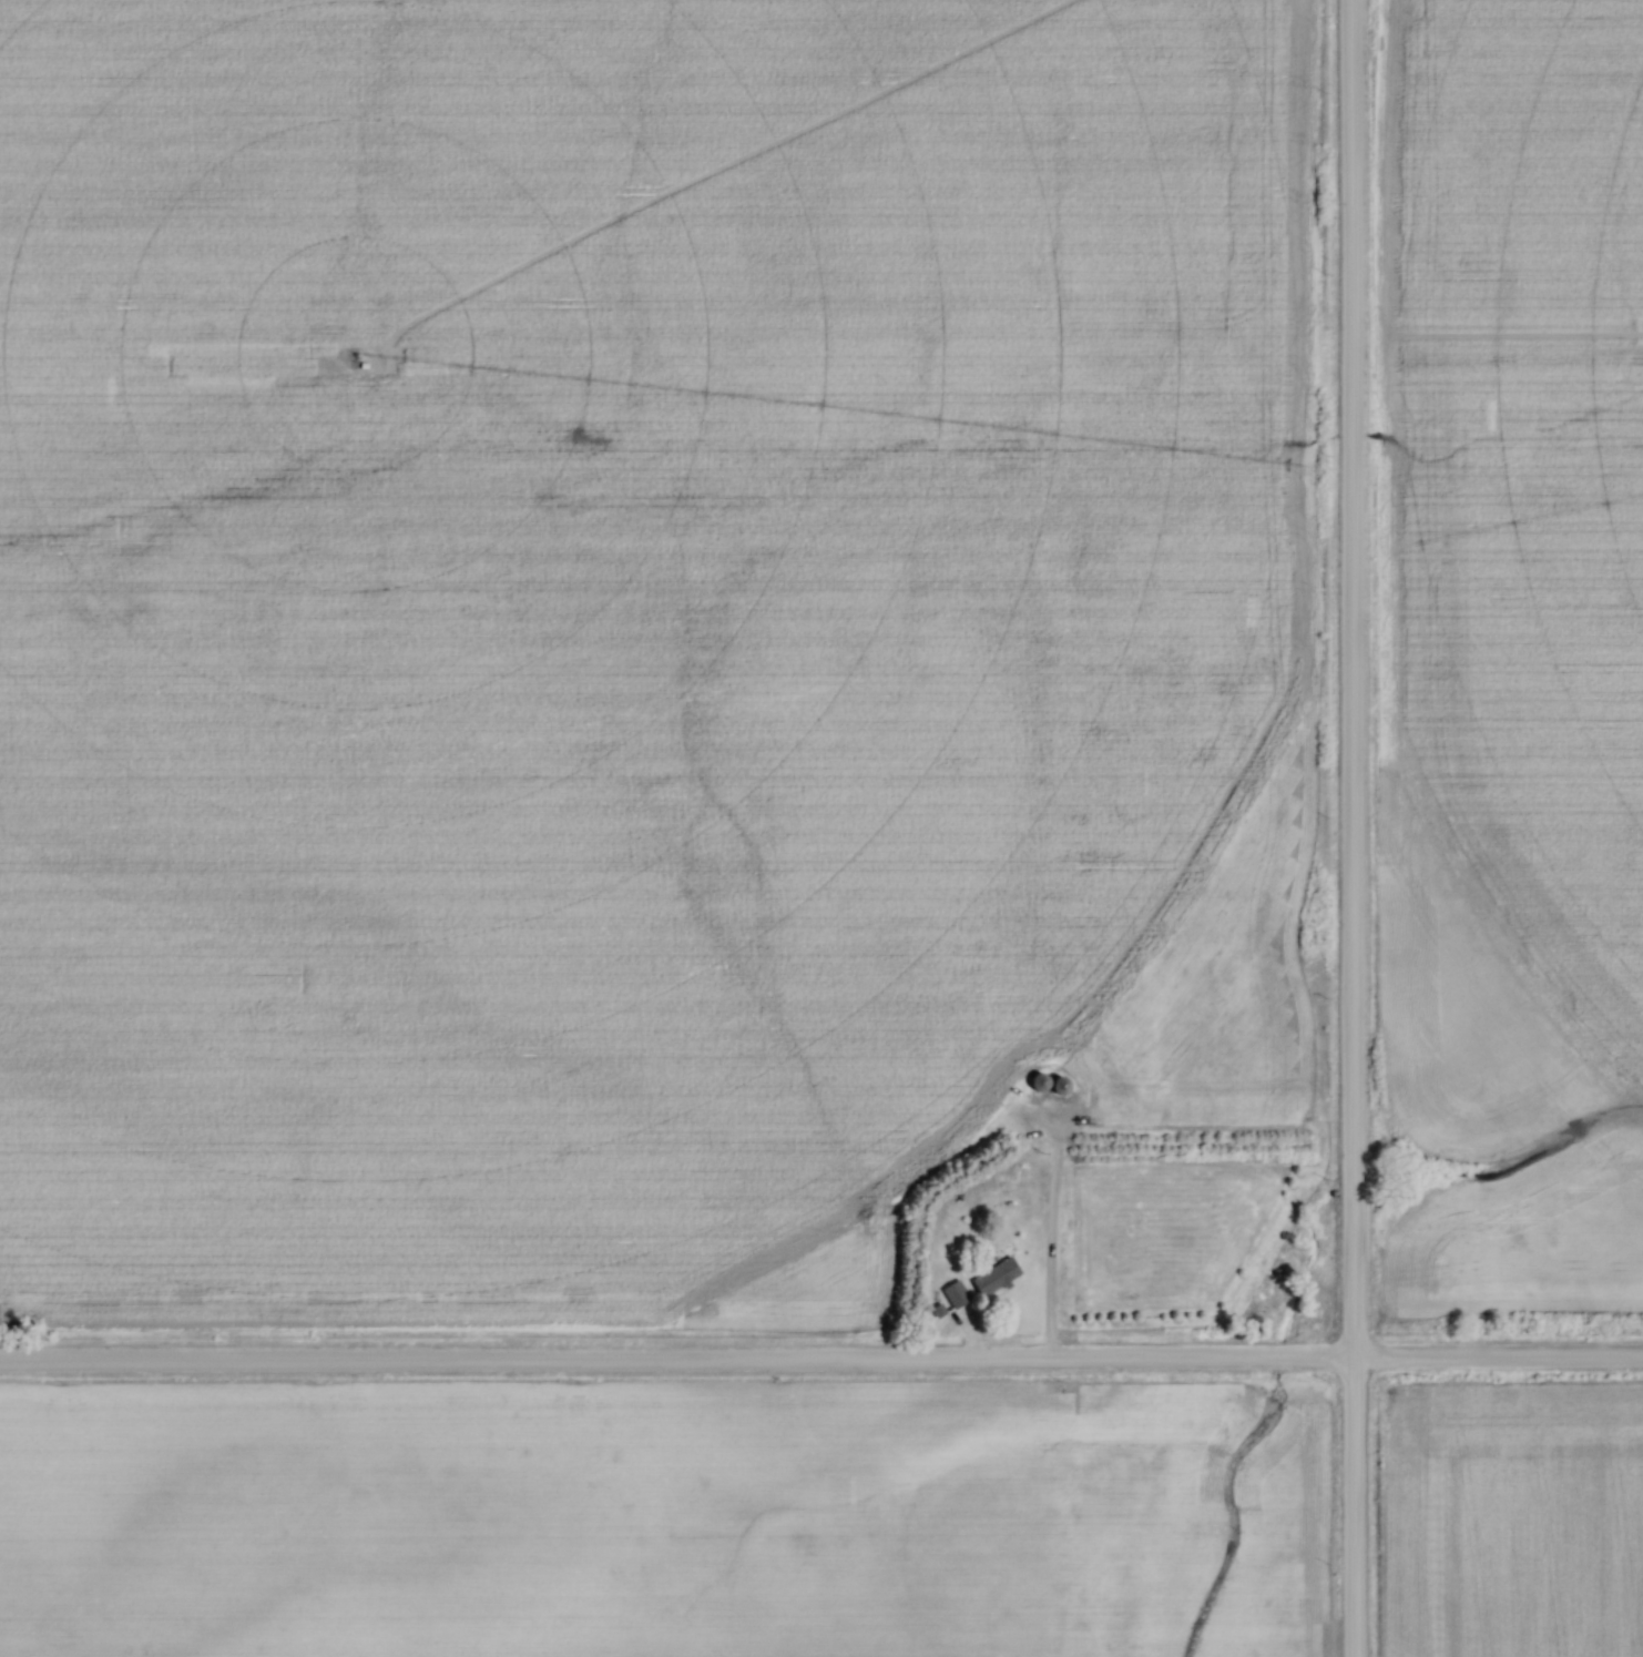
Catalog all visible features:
road: (1349, 828)
building: (1058, 1087)
road: (1049, 1246)
building: (993, 1277)
building: (953, 1294)
road: (822, 1362)

